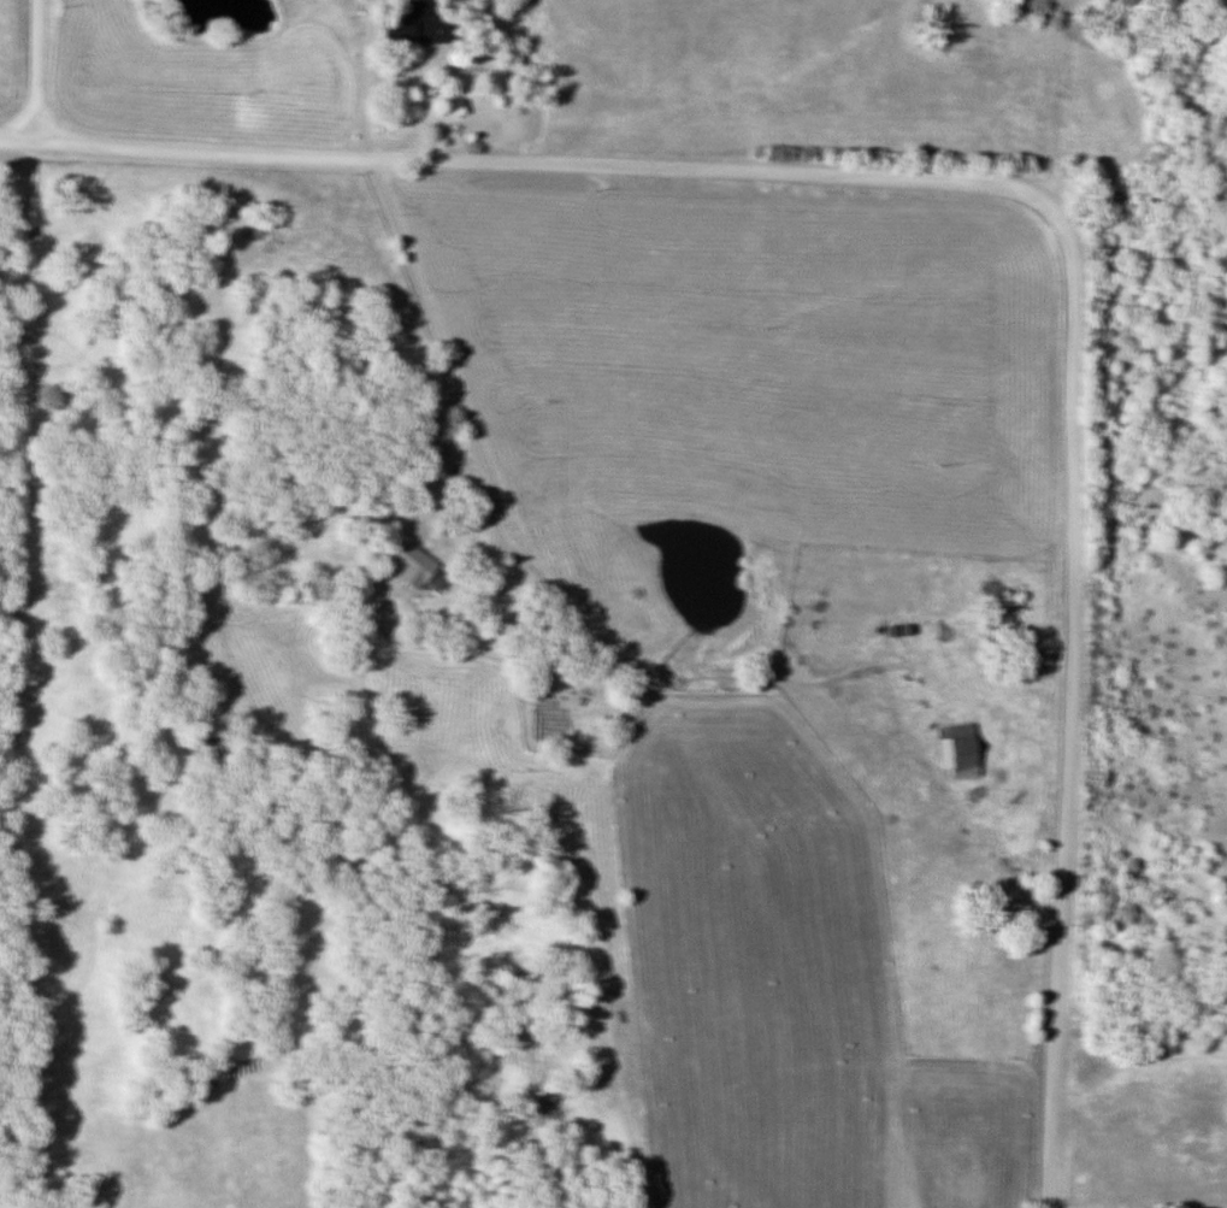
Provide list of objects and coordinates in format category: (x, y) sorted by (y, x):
building: (412, 23)
road: (45, 67)
road: (371, 78)
road: (1033, 191)
road: (447, 348)
building: (409, 562)
building: (960, 750)

